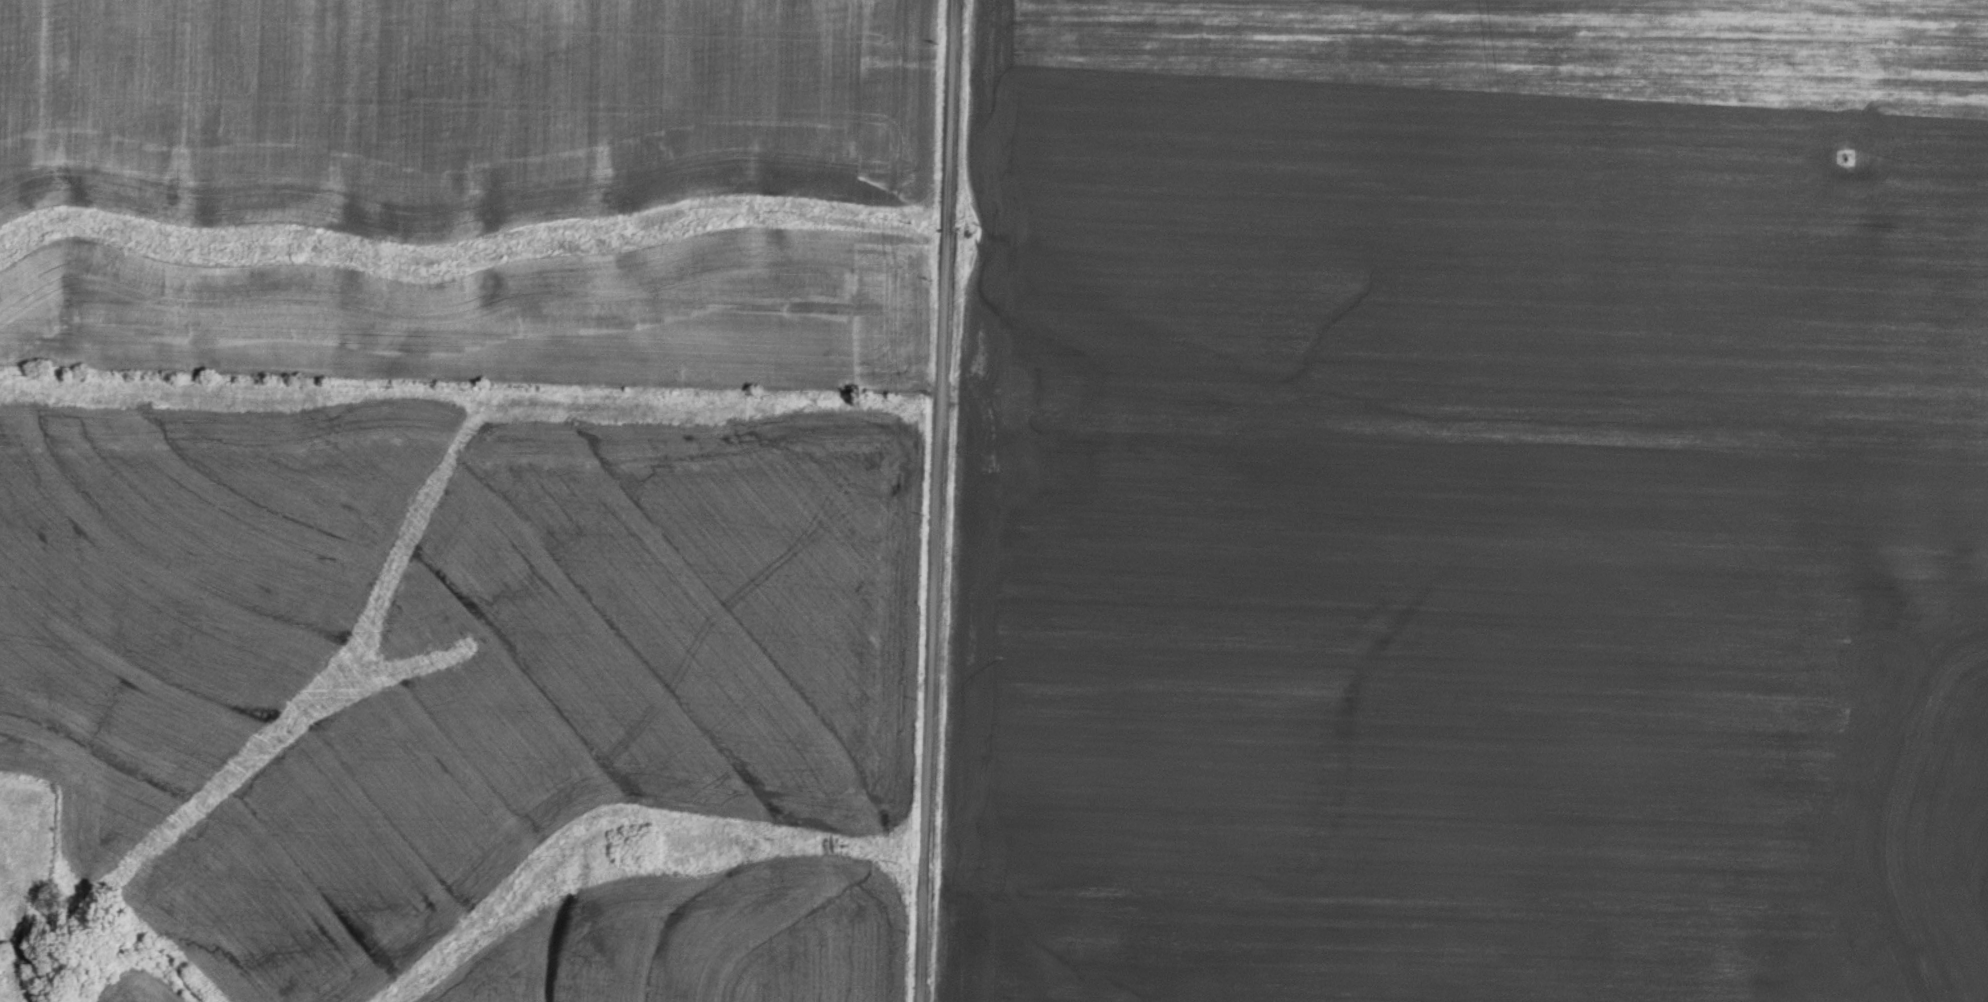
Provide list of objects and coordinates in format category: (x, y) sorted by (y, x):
crop: (476, 192)
road: (924, 501)
crop: (1469, 503)
crop: (474, 684)

